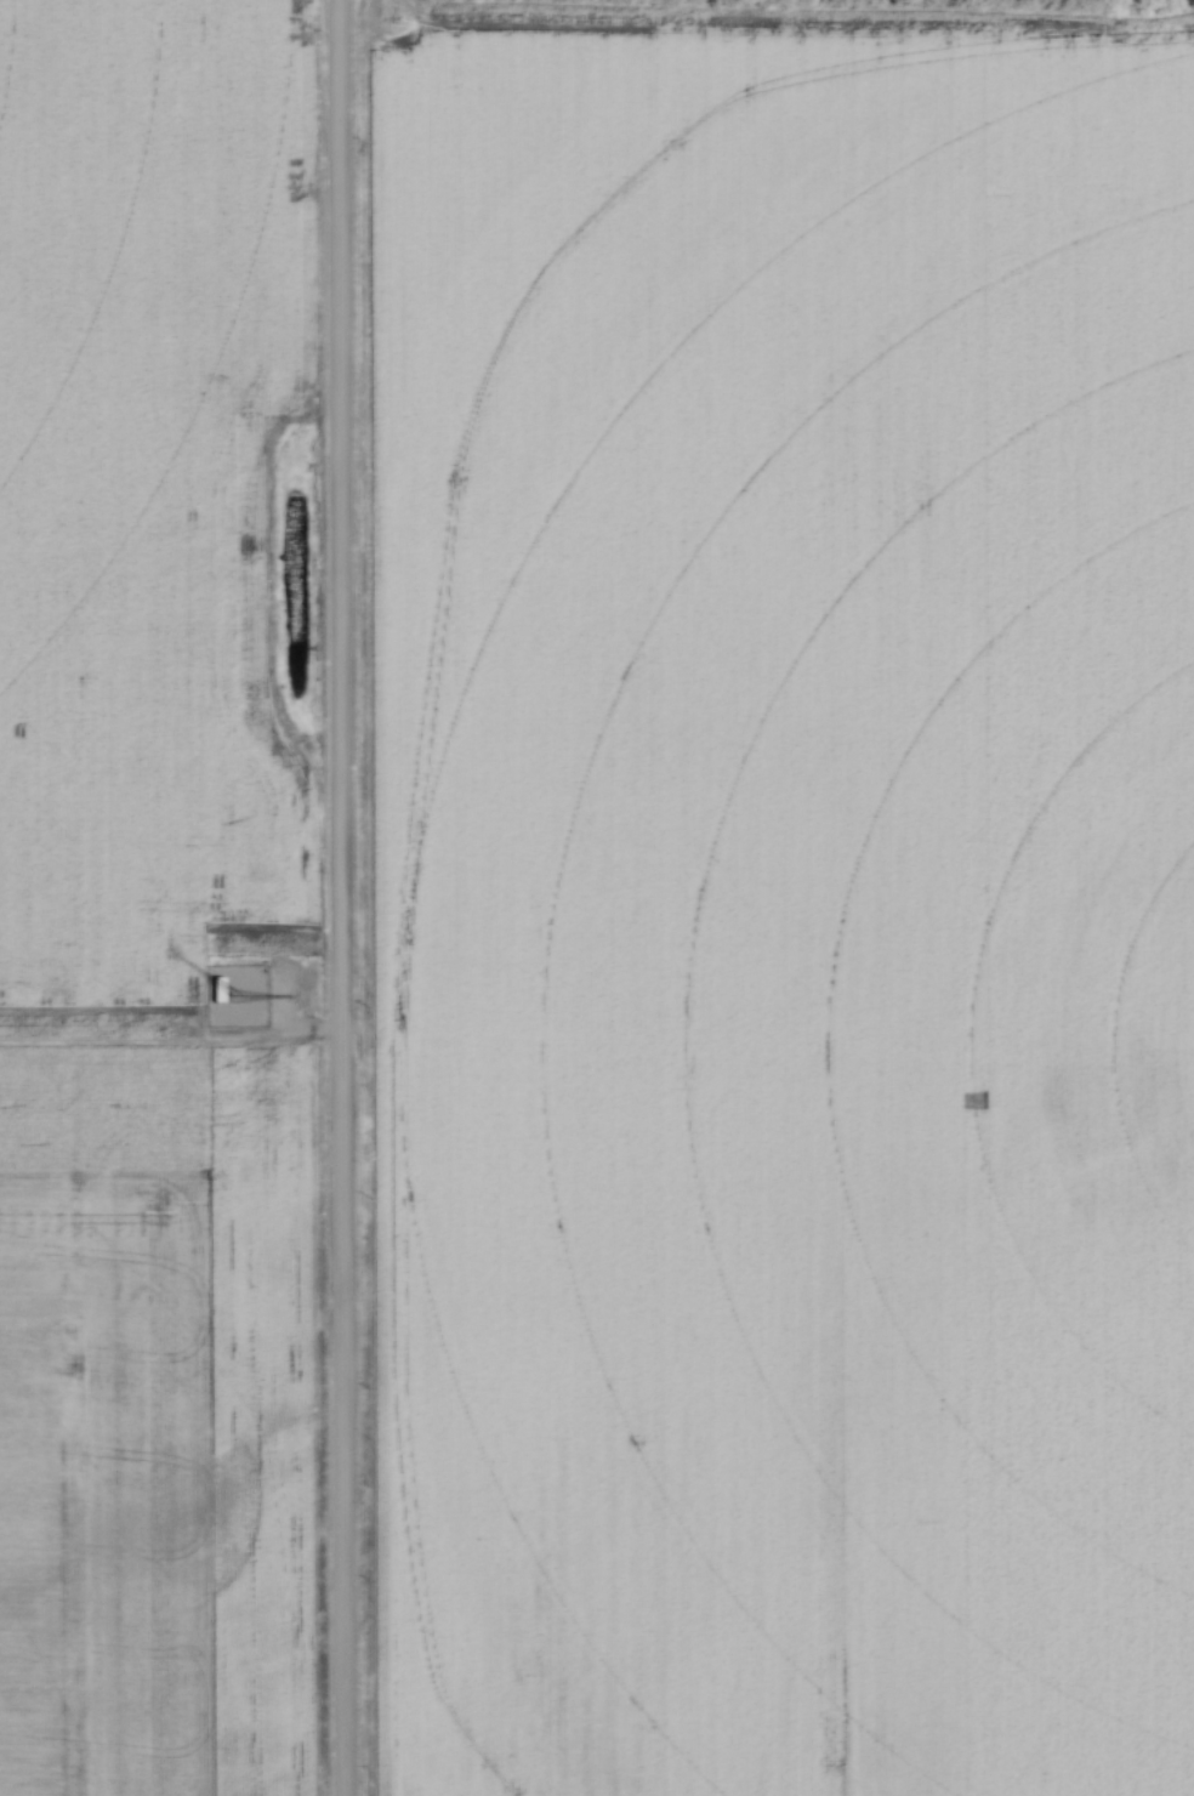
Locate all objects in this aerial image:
crop: (140, 490)
road: (336, 898)

